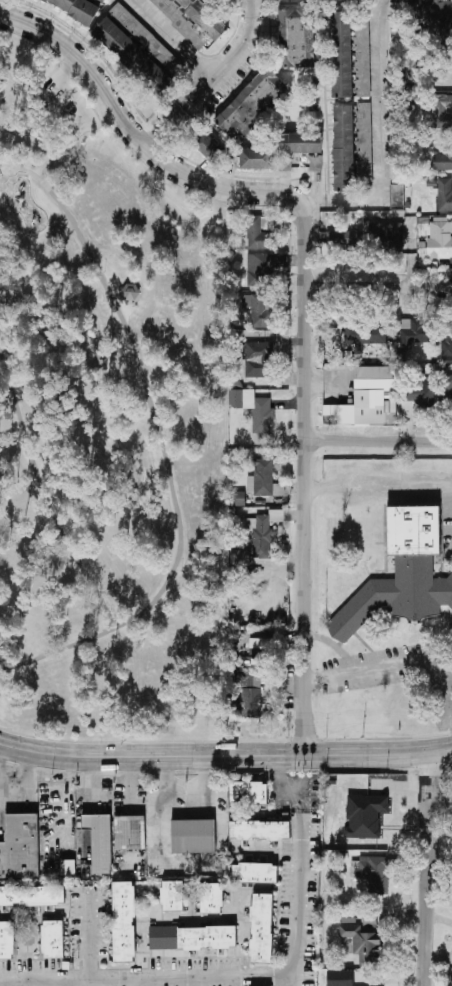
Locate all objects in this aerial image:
building: (99, 1)
building: (77, 8)
building: (440, 14)
building: (192, 20)
building: (145, 37)
road: (175, 39)
building: (296, 39)
building: (341, 55)
building: (133, 57)
road: (214, 81)
building: (251, 104)
building: (442, 112)
road: (48, 114)
road: (132, 134)
road: (379, 139)
building: (300, 143)
building: (364, 144)
building: (208, 147)
building: (343, 148)
building: (257, 159)
building: (442, 161)
building: (315, 162)
building: (396, 170)
road: (15, 176)
building: (444, 195)
building: (397, 196)
building: (258, 235)
building: (387, 237)
building: (344, 238)
building: (264, 268)
road: (378, 287)
building: (130, 291)
road: (118, 299)
building: (259, 312)
building: (412, 332)
building: (364, 336)
building: (447, 339)
building: (259, 359)
building: (447, 391)
building: (417, 395)
building: (370, 398)
building: (253, 409)
park: (104, 424)
road: (378, 442)
road: (164, 453)
road: (303, 477)
building: (263, 480)
road: (45, 495)
building: (237, 499)
building: (262, 533)
building: (400, 575)
road: (395, 667)
building: (252, 684)
road: (225, 754)
road: (25, 779)
building: (248, 793)
building: (365, 816)
building: (259, 830)
building: (129, 833)
building: (192, 836)
building: (100, 842)
building: (20, 847)
building: (67, 867)
road: (431, 868)
building: (254, 873)
building: (375, 873)
building: (32, 896)
building: (172, 896)
building: (211, 898)
building: (350, 918)
building: (123, 922)
building: (261, 929)
road: (88, 938)
building: (192, 938)
building: (52, 939)
building: (6, 940)
building: (364, 940)
road: (260, 976)
building: (339, 978)
road: (286, 980)
road: (52, 983)

